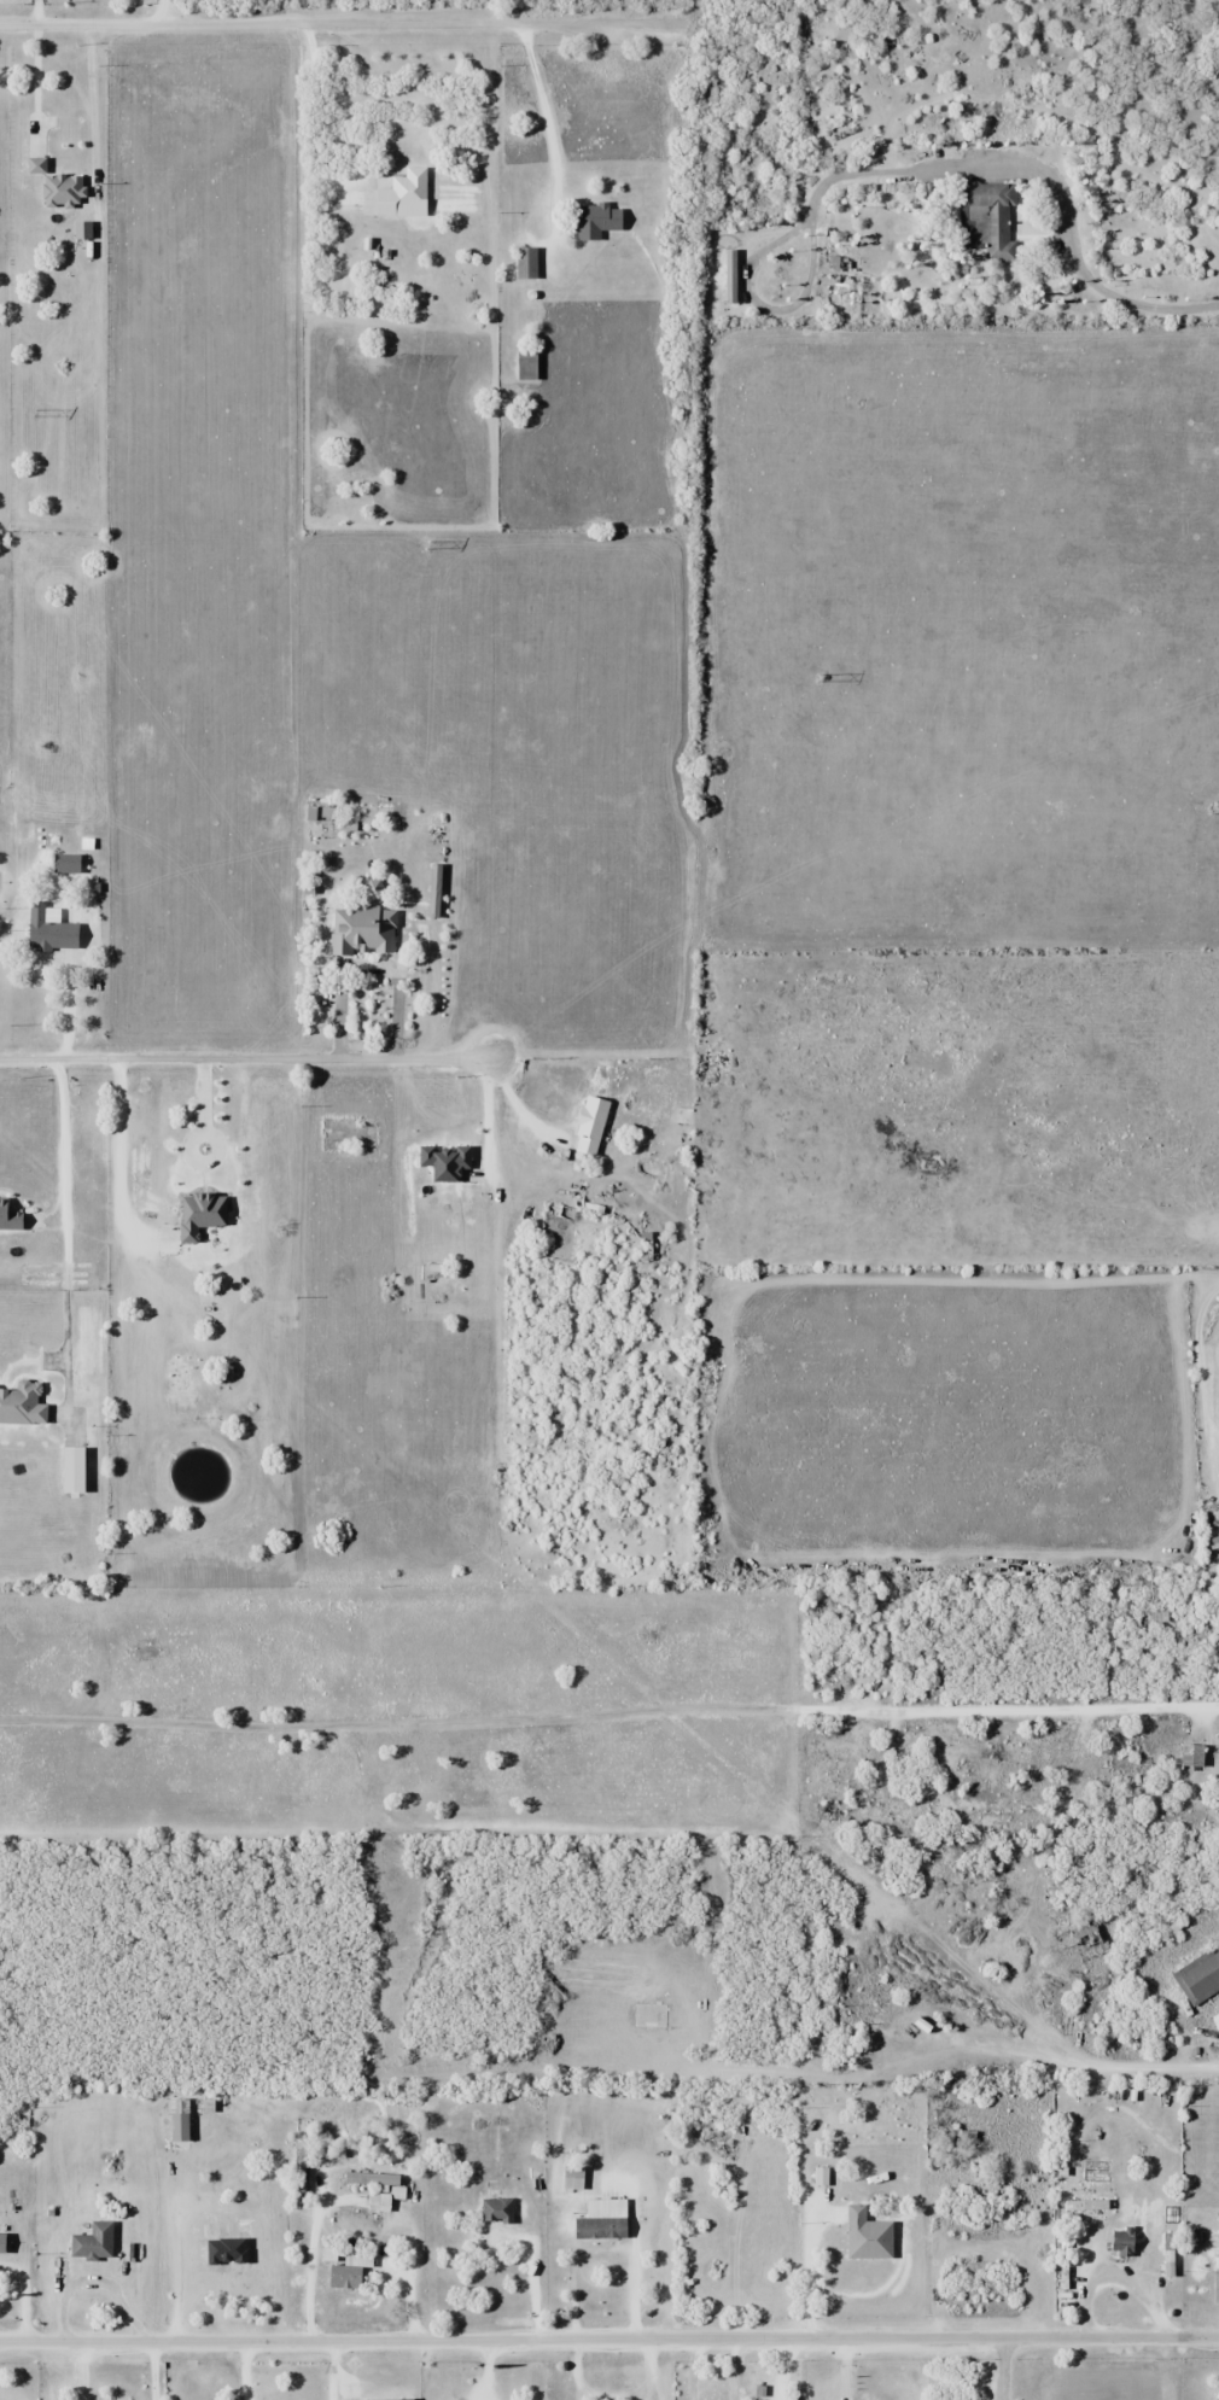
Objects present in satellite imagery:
road: (339, 22)
road: (311, 112)
building: (63, 192)
building: (402, 193)
road: (1061, 215)
building: (992, 220)
building: (595, 222)
building: (349, 249)
building: (526, 264)
building: (730, 276)
building: (526, 366)
power tower: (34, 414)
power tower: (426, 545)
power tower: (818, 678)
power tower: (1207, 810)
building: (434, 852)
building: (66, 864)
building: (363, 930)
building: (49, 932)
road: (243, 1057)
road: (513, 1103)
building: (590, 1126)
road: (116, 1149)
road: (62, 1213)
building: (10, 1217)
building: (23, 1405)
building: (1192, 1756)
building: (982, 1804)
building: (1200, 1976)
building: (876, 2010)
road: (1196, 2040)
building: (299, 2177)
building: (573, 2178)
building: (374, 2179)
building: (496, 2212)
building: (605, 2219)
building: (867, 2236)
building: (93, 2243)
building: (1120, 2248)
road: (170, 2252)
building: (1218, 2264)
road: (92, 2278)
road: (21, 2296)
road: (608, 2341)
road: (336, 2370)
road: (151, 2371)
road: (247, 2371)
building: (1217, 2399)

